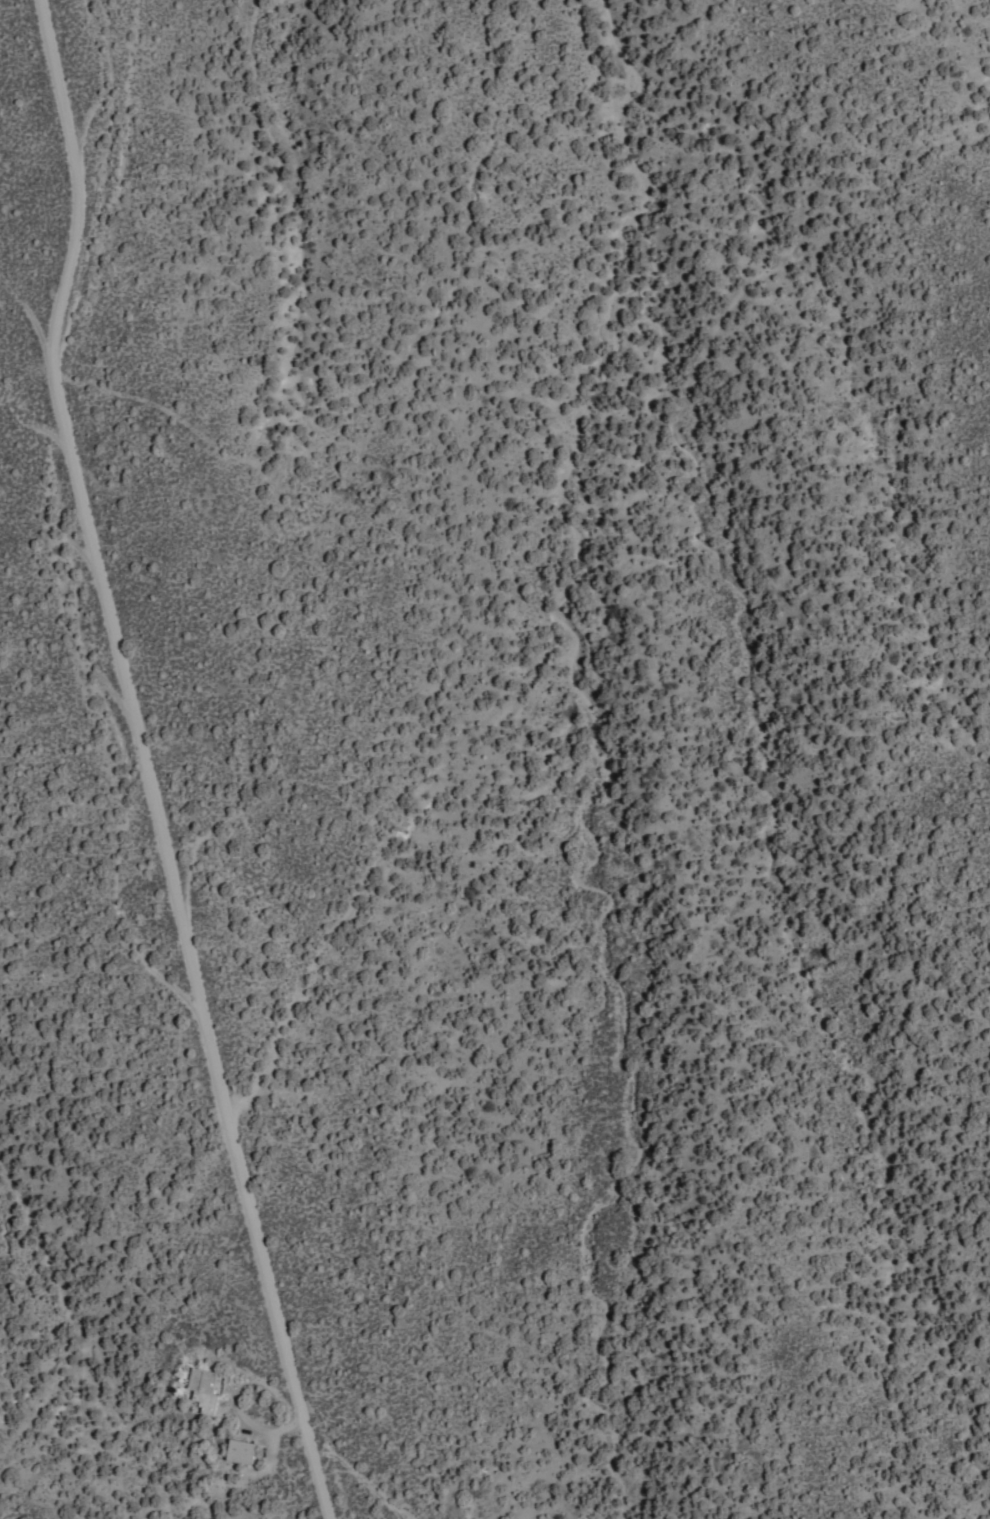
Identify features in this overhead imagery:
road: (138, 762)
building: (203, 1388)
building: (239, 1450)

